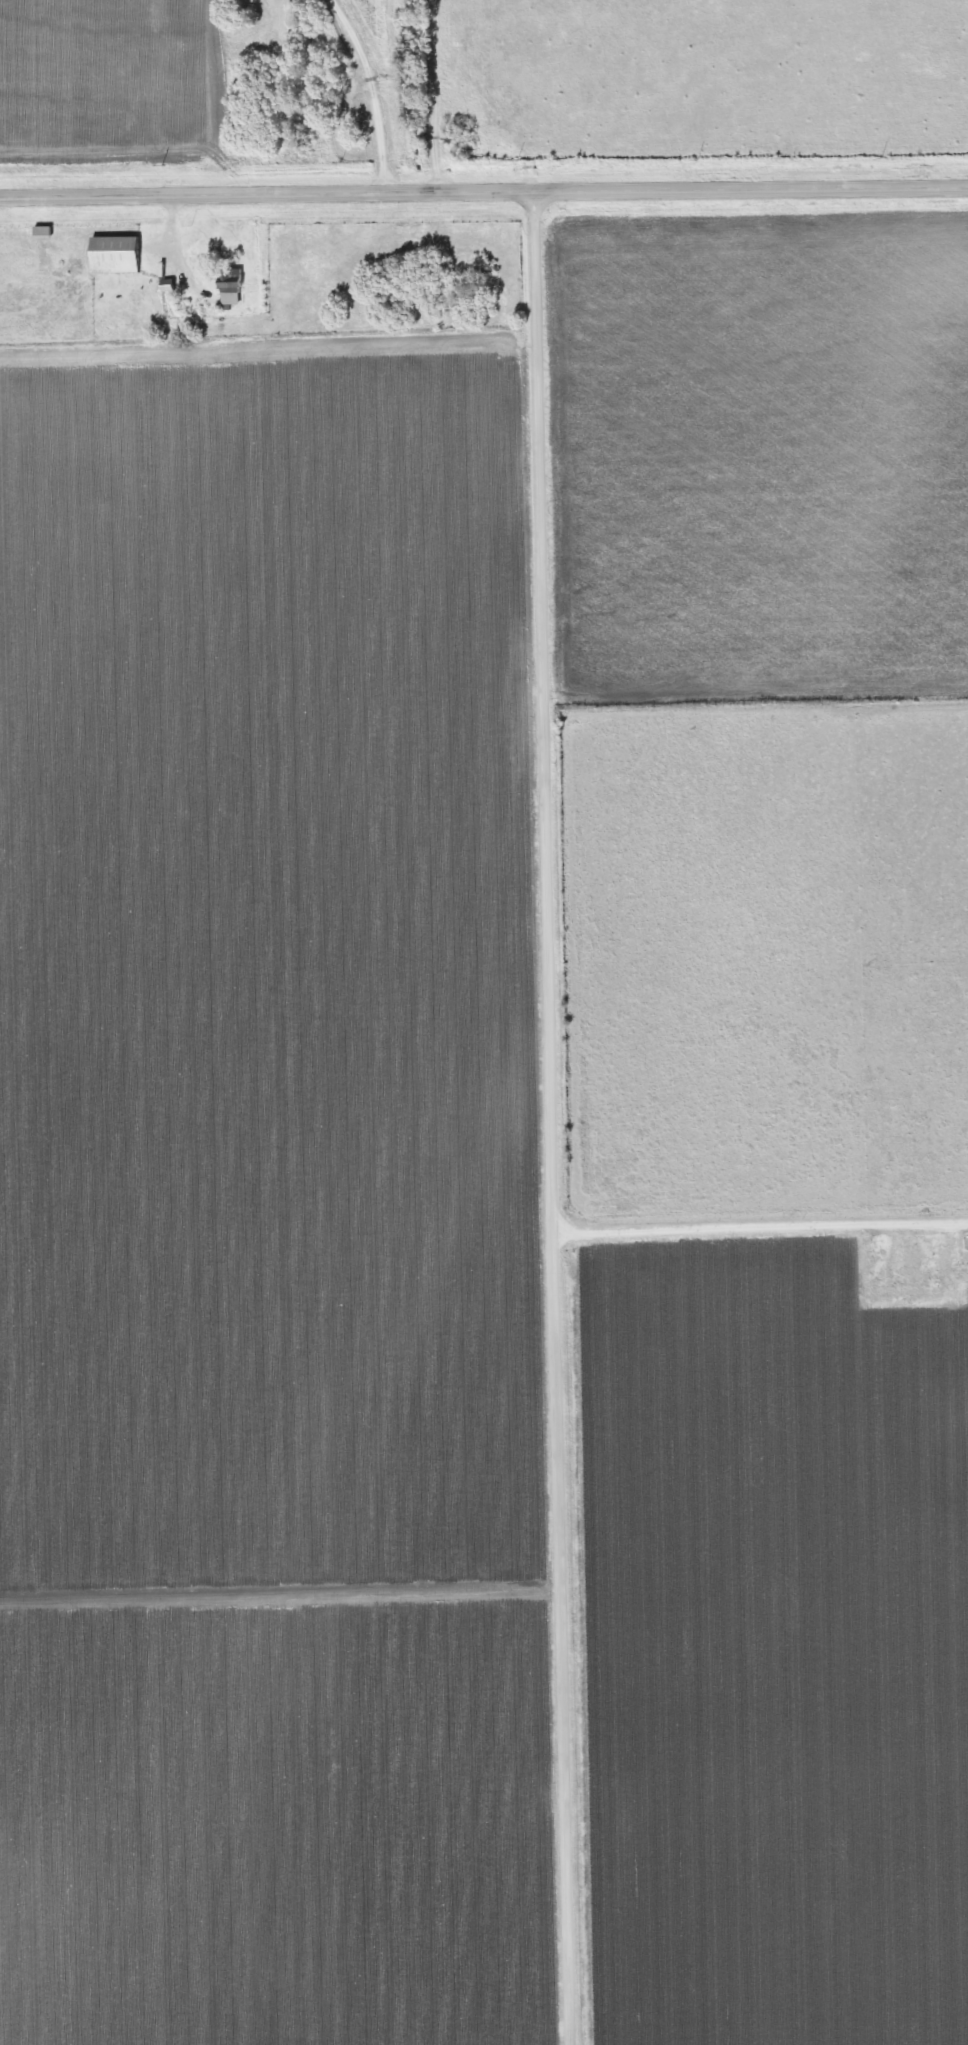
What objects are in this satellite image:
road: (371, 88)
road: (432, 95)
road: (484, 190)
building: (108, 255)
building: (223, 287)
road: (558, 1117)
road: (764, 1204)

